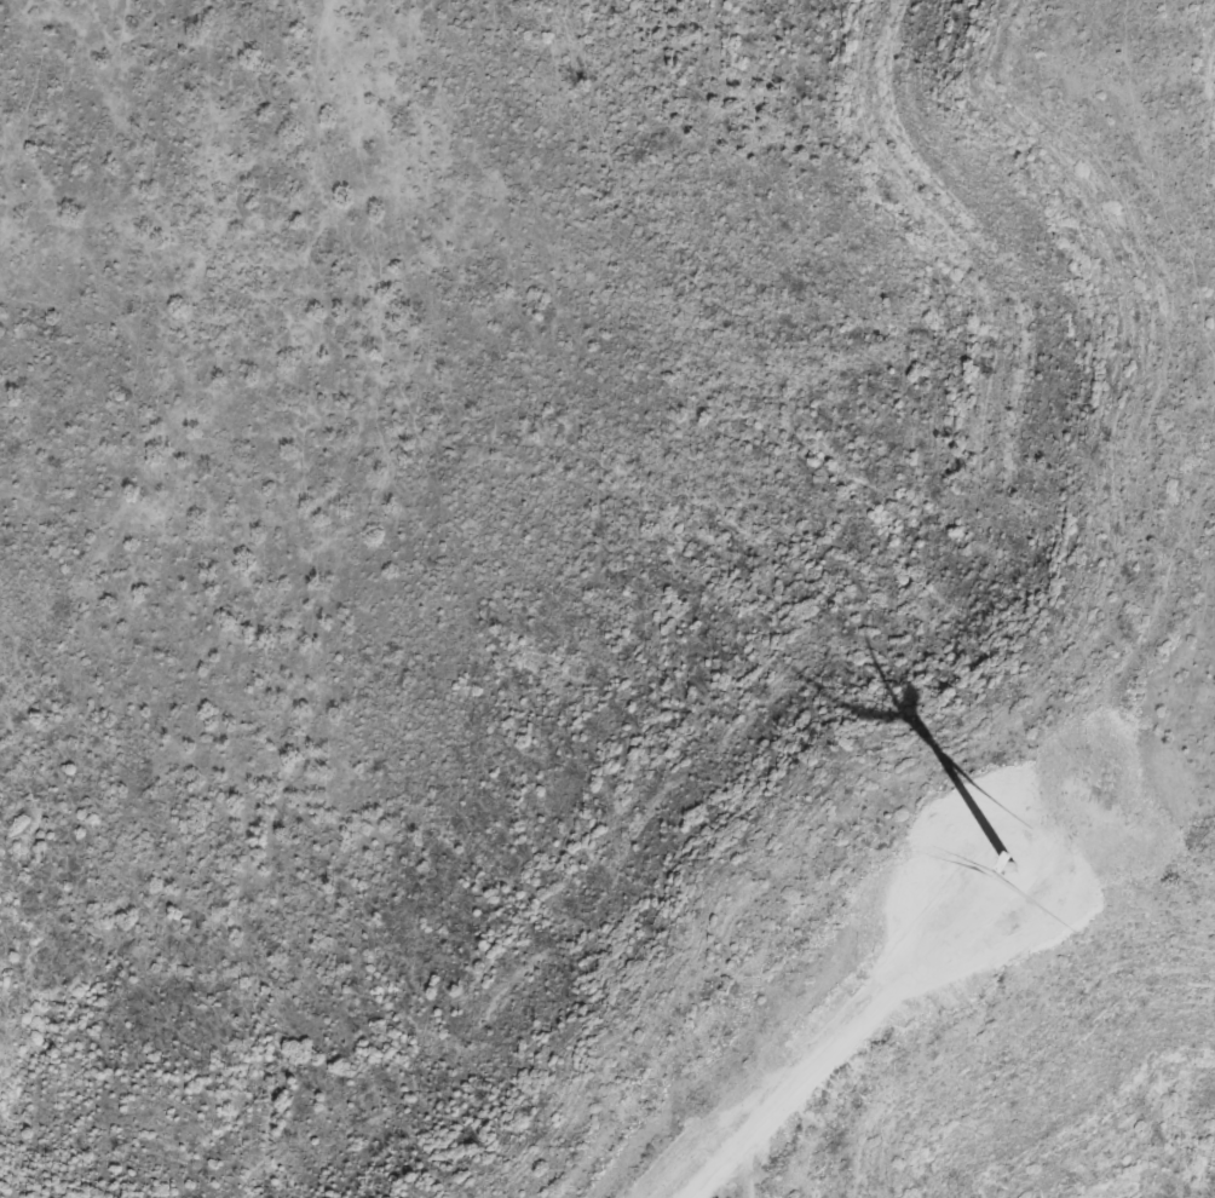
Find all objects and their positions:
wind turbine: (995, 840)

